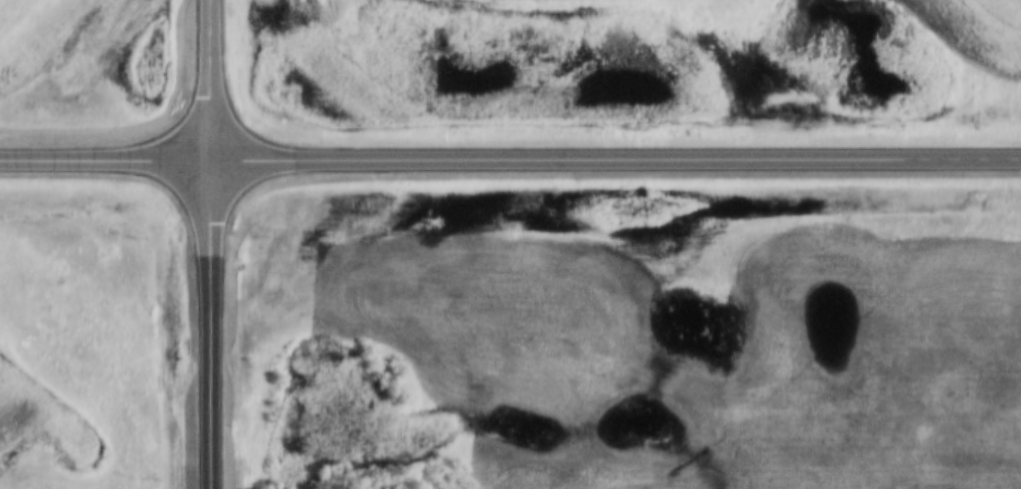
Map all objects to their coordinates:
road: (510, 160)
road: (209, 244)

